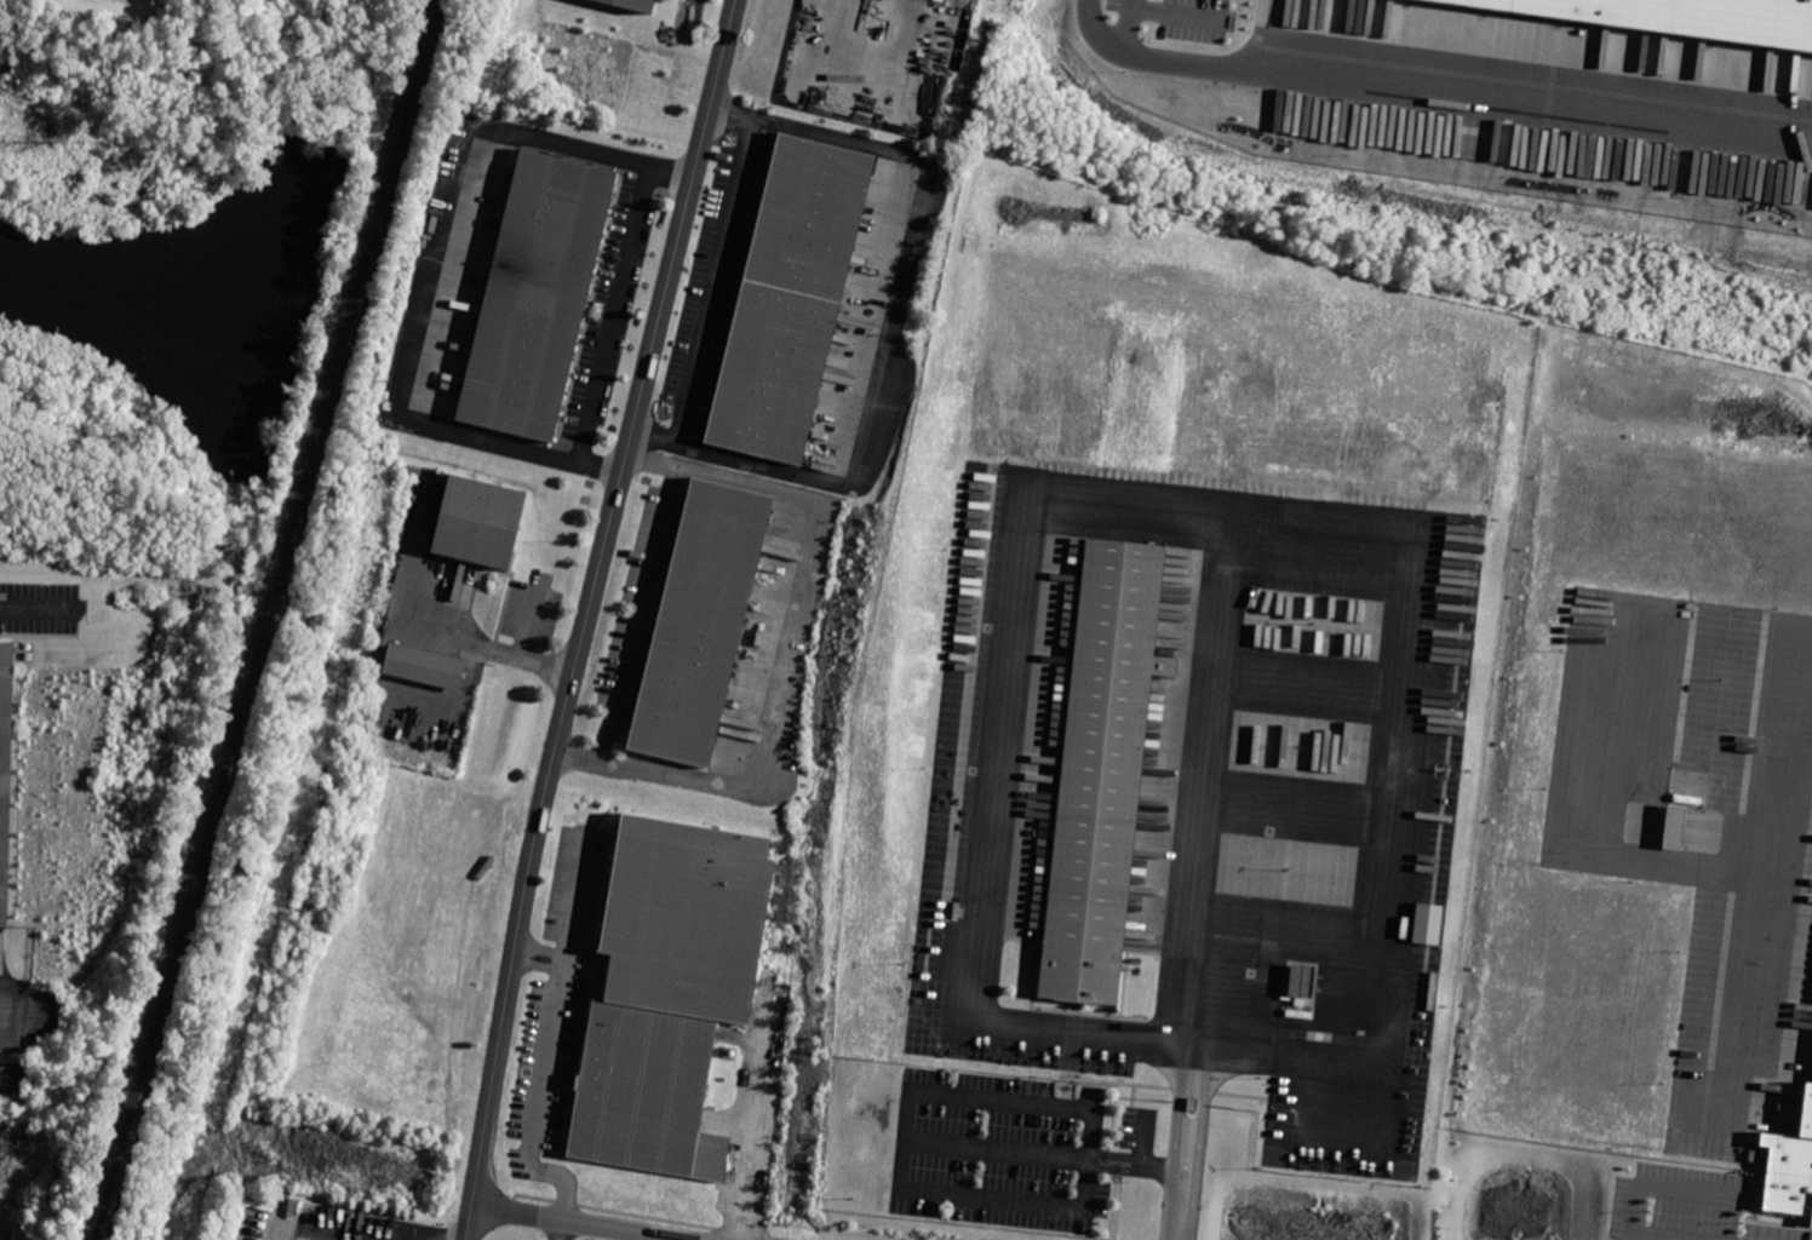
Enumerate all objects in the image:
building: (630, 5)
road: (1175, 12)
building: (1681, 18)
road: (1128, 30)
road: (868, 76)
road: (1433, 96)
road: (25, 103)
road: (426, 270)
road: (712, 279)
building: (787, 297)
building: (538, 298)
road: (610, 315)
road: (891, 325)
road: (1027, 488)
building: (478, 526)
road: (38, 607)
road: (642, 613)
road: (584, 616)
railway: (268, 619)
building: (704, 625)
road: (460, 641)
road: (798, 641)
road: (520, 645)
building: (428, 664)
road: (1309, 681)
building: (1105, 773)
building: (6, 774)
road: (1782, 774)
road: (1208, 808)
road: (1295, 808)
road: (1605, 811)
building: (1671, 826)
road: (1281, 929)
road: (541, 947)
road: (537, 964)
building: (1306, 978)
building: (672, 989)
road: (1748, 1016)
road: (11, 1020)
road: (1349, 1095)
road: (535, 1100)
road: (905, 1137)
road: (1145, 1137)
road: (1187, 1137)
road: (997, 1146)
road: (1116, 1154)
road: (1163, 1167)
building: (1789, 1167)
road: (1113, 1169)
road: (1638, 1186)
road: (1181, 1205)
road: (573, 1221)
road: (558, 1229)

